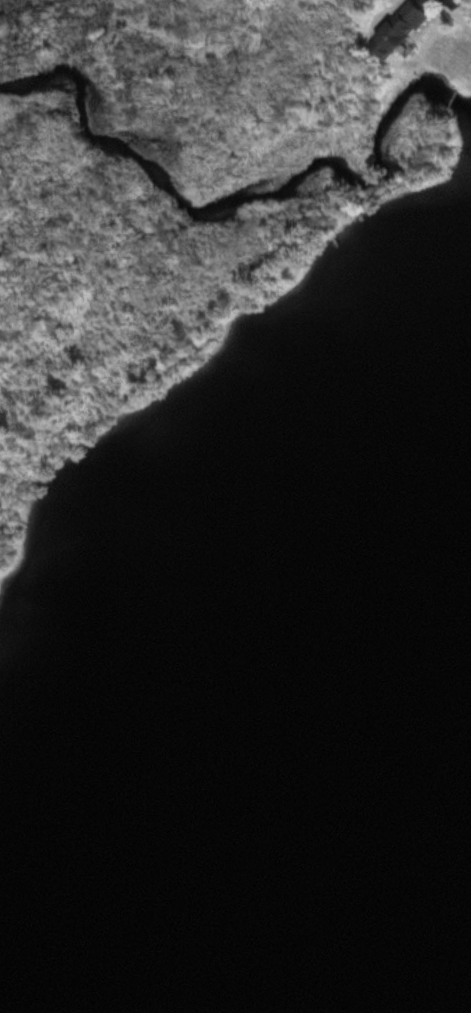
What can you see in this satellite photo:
building: (397, 28)
dam: (448, 97)

